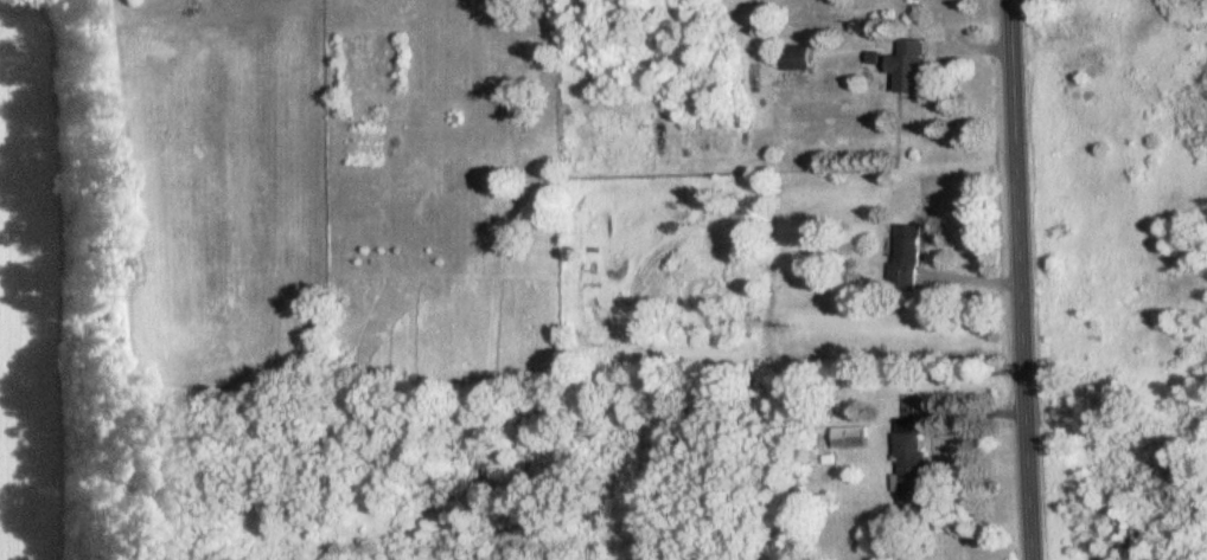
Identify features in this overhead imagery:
building: (796, 57)
building: (906, 65)
building: (906, 256)
road: (1014, 279)
building: (848, 437)
building: (909, 463)

